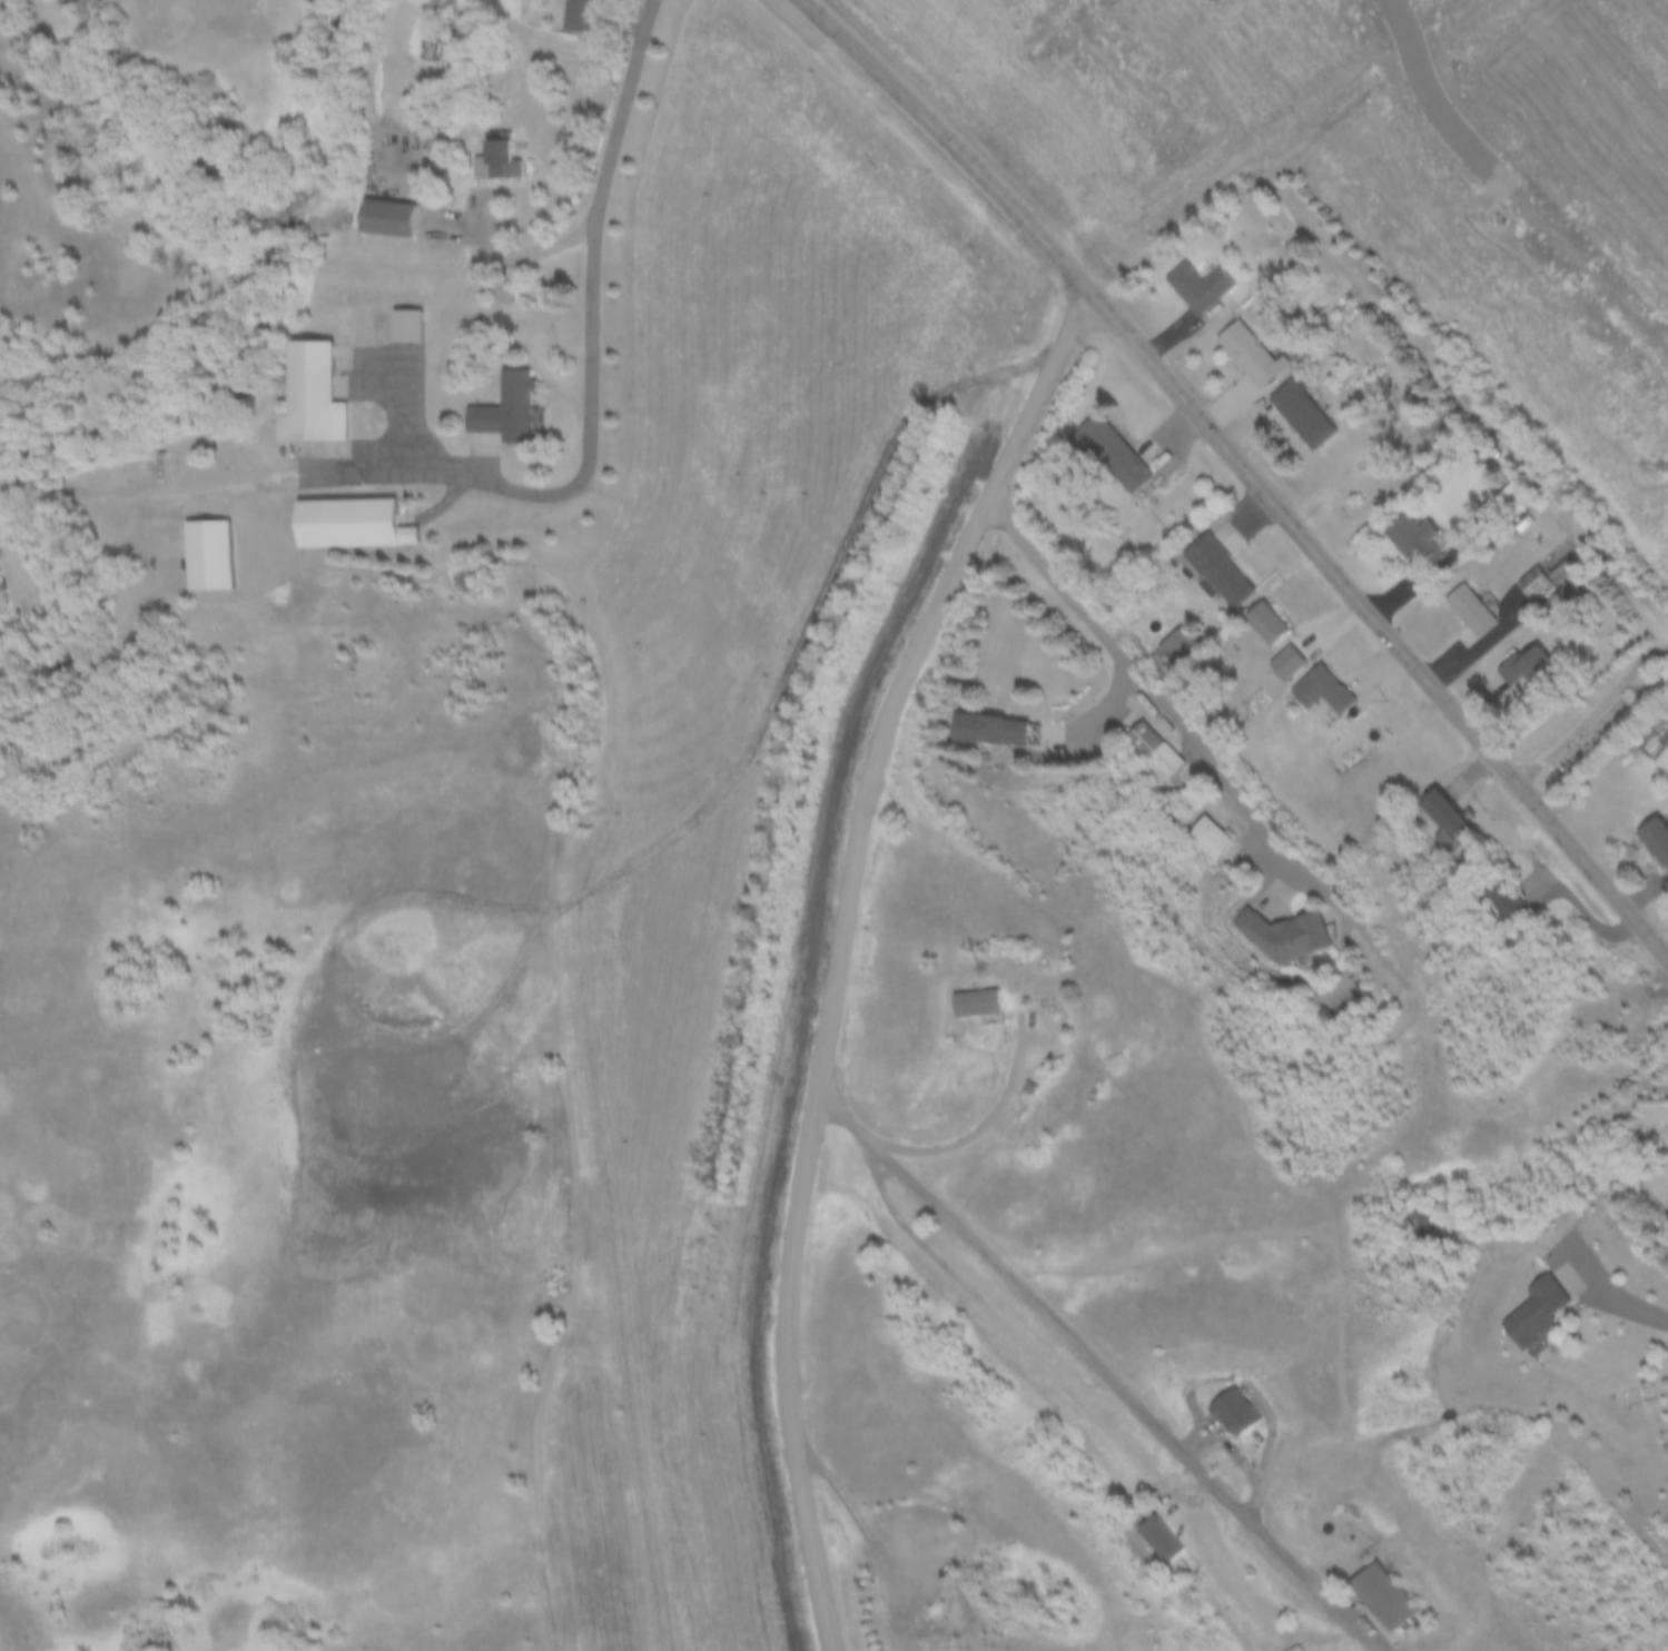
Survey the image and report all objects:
building: (588, 16)
road: (1412, 86)
road: (951, 141)
building: (514, 159)
road: (598, 199)
building: (397, 218)
building: (1194, 287)
building: (511, 291)
building: (416, 326)
building: (1247, 355)
building: (316, 396)
building: (515, 412)
building: (1297, 414)
building: (1122, 467)
road: (418, 469)
building: (355, 524)
building: (1408, 538)
building: (207, 556)
building: (1555, 566)
building: (1216, 571)
building: (1531, 584)
building: (1468, 611)
building: (1262, 623)
road: (1380, 623)
building: (1173, 641)
building: (1286, 663)
building: (1529, 668)
building: (1320, 690)
building: (994, 730)
building: (1152, 750)
building: (1440, 818)
building: (1202, 838)
building: (1656, 839)
road: (1295, 882)
building: (1498, 896)
building: (1280, 936)
road: (841, 950)
building: (991, 1004)
road: (954, 1126)
building: (1534, 1312)
road: (1127, 1387)
building: (1241, 1411)
building: (894, 1526)
building: (1385, 1596)
building: (1292, 1648)

